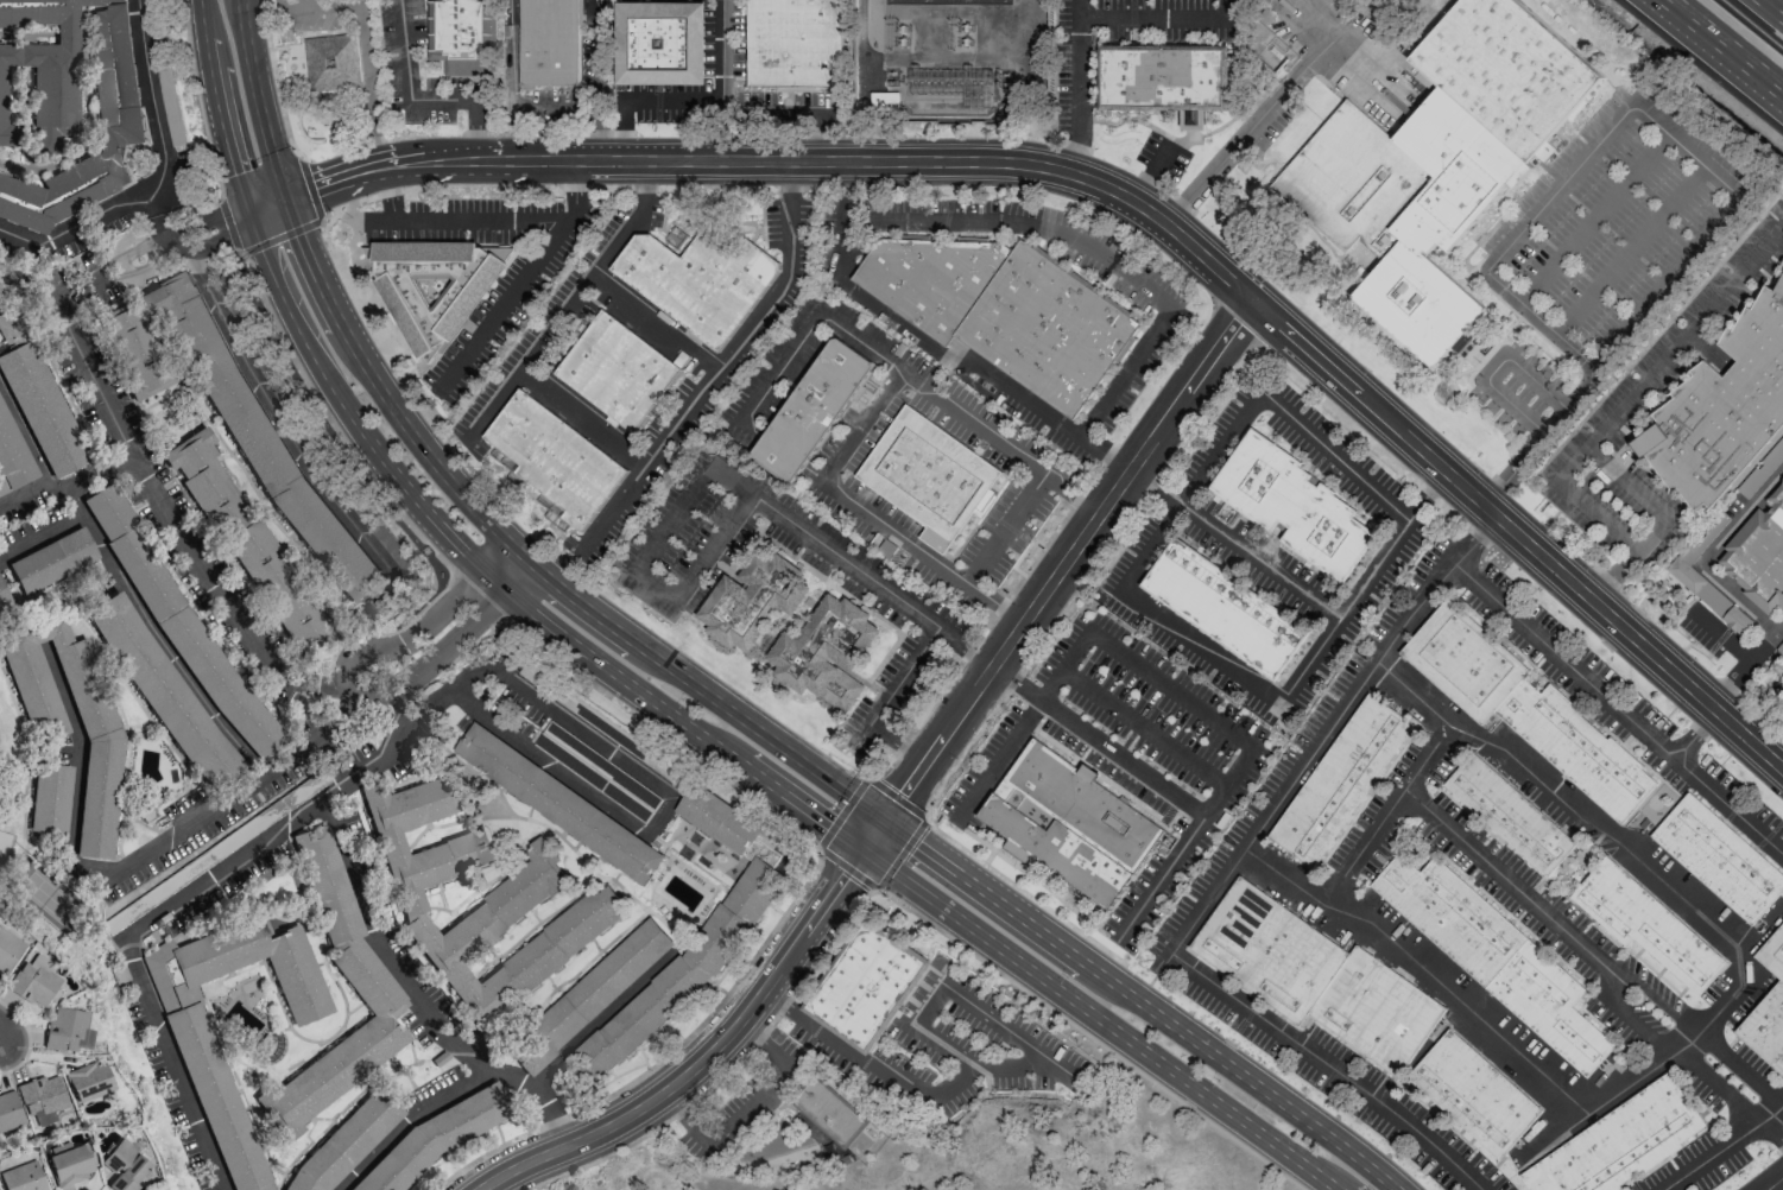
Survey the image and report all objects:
road: (360, 2)
road: (279, 4)
road: (1776, 5)
road: (321, 7)
road: (1076, 8)
road: (1156, 18)
building: (461, 36)
building: (549, 43)
building: (660, 43)
building: (795, 44)
road: (1726, 44)
power substation: (948, 57)
road: (1309, 58)
building: (331, 62)
building: (1162, 78)
road: (716, 80)
road: (273, 81)
road: (369, 88)
building: (167, 90)
building: (69, 96)
road: (1076, 96)
road: (670, 99)
road: (419, 100)
road: (197, 101)
road: (255, 101)
road: (794, 113)
road: (624, 129)
road: (1688, 152)
road: (1225, 157)
building: (1441, 160)
road: (1151, 172)
road: (157, 178)
road: (574, 181)
road: (789, 181)
road: (643, 188)
road: (1558, 188)
road: (1117, 192)
road: (391, 196)
traffic signals: (283, 201)
road: (1778, 208)
road: (843, 211)
traffic signals: (249, 214)
road: (1595, 220)
road: (462, 221)
road: (283, 234)
road: (1096, 245)
road: (1631, 251)
building: (697, 283)
building: (435, 285)
road: (512, 297)
building: (1004, 311)
road: (658, 321)
road: (1542, 322)
road: (555, 327)
road: (873, 350)
road: (1612, 352)
road: (978, 367)
road: (1494, 368)
building: (619, 372)
road: (709, 384)
road: (1636, 393)
building: (38, 397)
building: (811, 410)
building: (1722, 410)
road: (583, 420)
road: (331, 424)
road: (866, 430)
road: (122, 436)
road: (784, 452)
building: (12, 456)
road: (1334, 458)
building: (556, 460)
building: (1759, 469)
building: (929, 477)
building: (204, 480)
road: (67, 486)
road: (1185, 489)
road: (1071, 493)
road: (1425, 496)
building: (1291, 505)
road: (1663, 521)
road: (801, 525)
road: (887, 526)
road: (1485, 527)
road: (50, 530)
road: (1007, 530)
road: (710, 540)
road: (1234, 544)
road: (1707, 553)
building: (1758, 556)
building: (52, 561)
road: (504, 568)
road: (533, 568)
road: (1056, 574)
road: (657, 582)
building: (278, 585)
building: (4, 596)
building: (1708, 596)
road: (476, 599)
building: (754, 600)
road: (997, 603)
building: (1224, 609)
road: (1345, 613)
road: (1719, 634)
road: (1199, 645)
building: (827, 652)
road: (1746, 667)
road: (1016, 683)
road: (513, 685)
road: (1170, 690)
building: (163, 691)
road: (352, 691)
road: (641, 694)
road: (887, 698)
road: (1617, 708)
building: (1525, 709)
road: (486, 715)
building: (602, 723)
road: (1023, 724)
road: (1143, 728)
road: (1696, 735)
building: (101, 738)
road: (1320, 743)
road: (1121, 760)
building: (596, 773)
building: (1341, 780)
building: (51, 798)
road: (928, 803)
building: (559, 804)
road: (315, 806)
road: (1576, 812)
road: (663, 814)
building: (1509, 814)
road: (1384, 816)
road: (922, 817)
building: (719, 819)
building: (1069, 822)
traffic signals: (881, 823)
road: (1184, 844)
traffic signals: (862, 850)
road: (133, 859)
building: (1720, 859)
road: (1505, 881)
road: (897, 901)
building: (511, 903)
road: (785, 910)
road: (1007, 911)
building: (1646, 925)
building: (8, 950)
building: (1494, 955)
road: (1424, 970)
building: (684, 971)
building: (1317, 977)
building: (34, 981)
building: (371, 981)
building: (866, 987)
road: (417, 994)
building: (590, 996)
road: (783, 1004)
road: (927, 1004)
building: (1768, 1009)
road: (596, 1021)
road: (1001, 1026)
road: (1699, 1027)
building: (69, 1030)
road: (6, 1033)
road: (943, 1046)
road: (1676, 1050)
road: (702, 1057)
road: (862, 1061)
road: (173, 1062)
road: (1329, 1065)
road: (986, 1068)
building: (89, 1082)
road: (1635, 1083)
road: (1258, 1088)
building: (1473, 1094)
building: (44, 1097)
road: (748, 1107)
building: (227, 1108)
building: (11, 1112)
building: (828, 1113)
road: (410, 1118)
road: (1771, 1132)
building: (437, 1138)
building: (346, 1142)
building: (1620, 1144)
road: (1722, 1147)
building: (71, 1165)
building: (125, 1166)
building: (24, 1177)
road: (1779, 1186)

